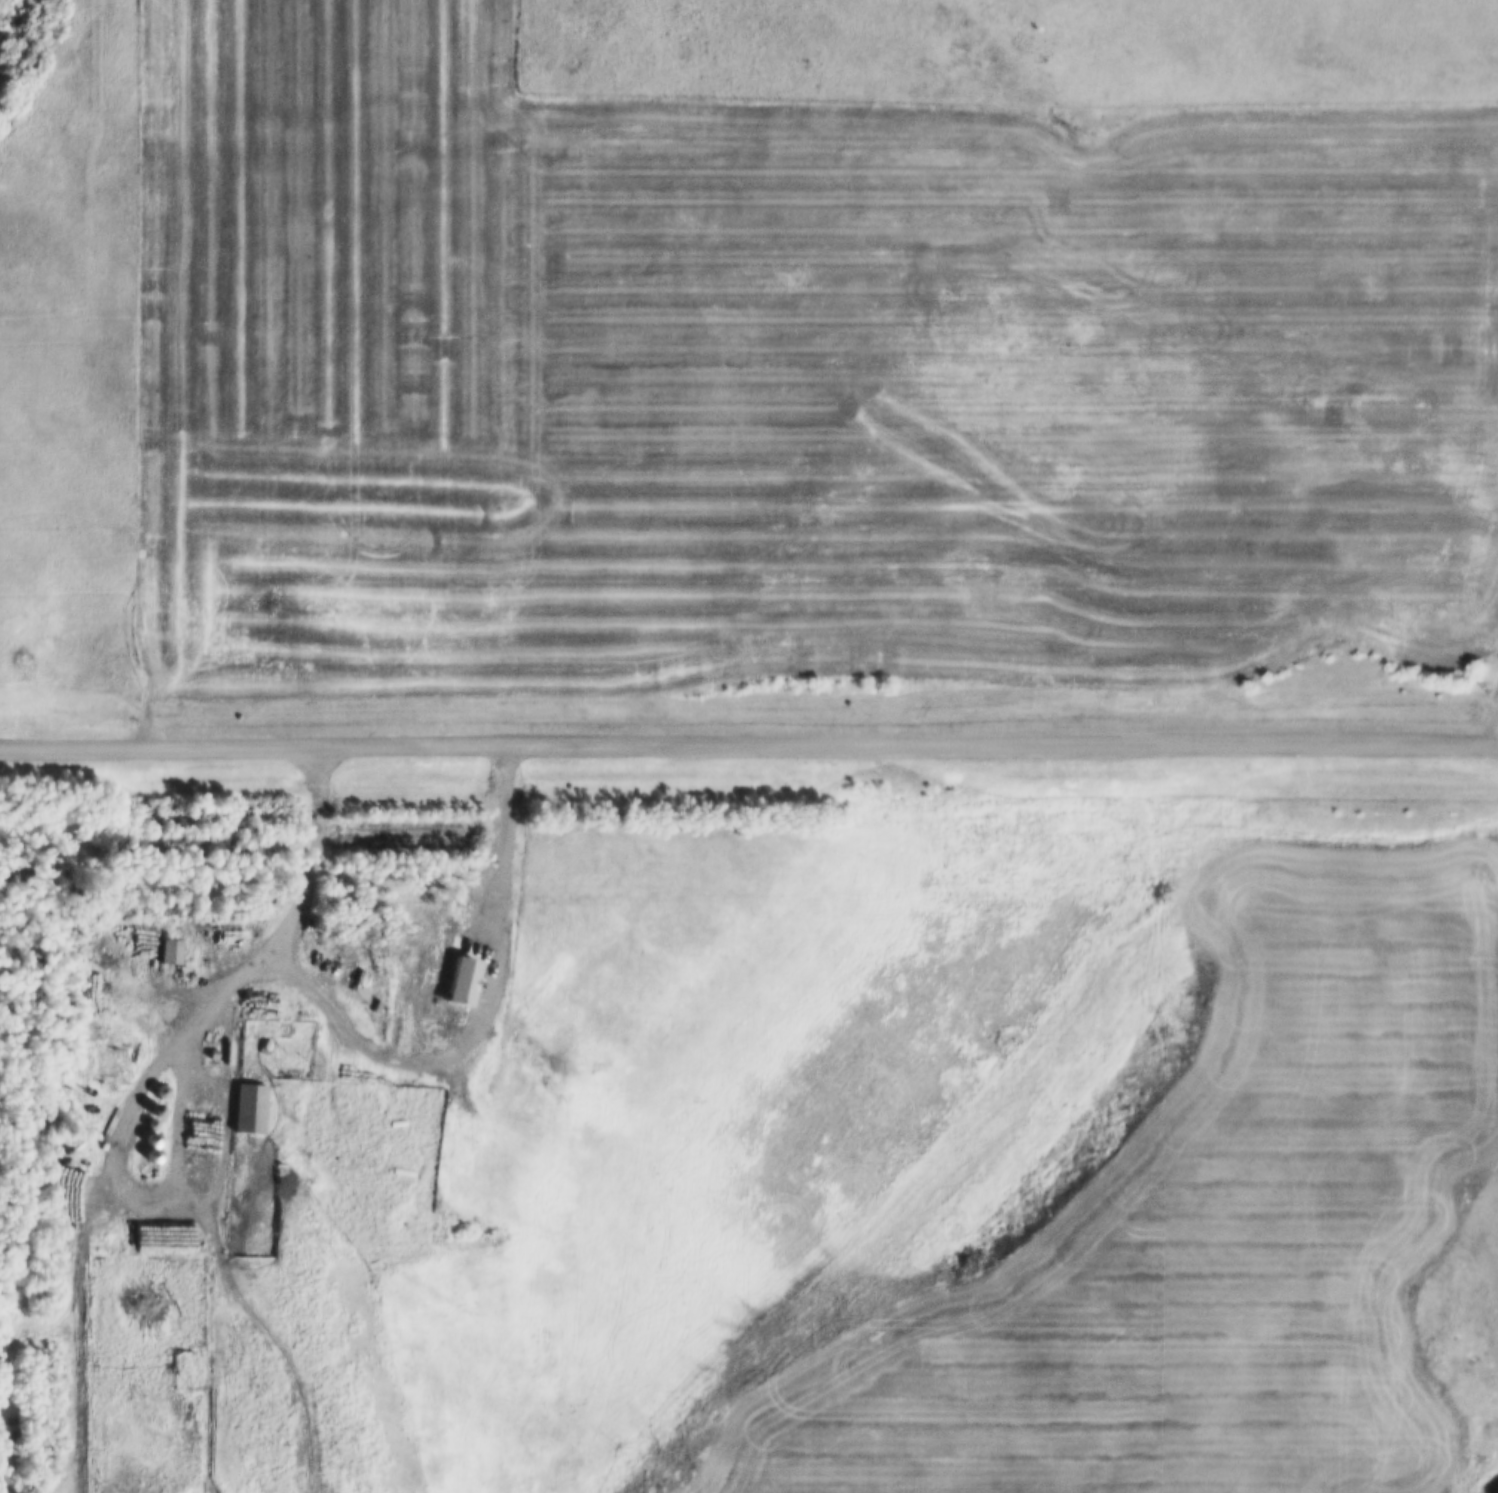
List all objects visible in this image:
road: (1490, 727)
road: (749, 741)
building: (69, 882)
building: (505, 889)
building: (168, 943)
building: (459, 964)
road: (222, 983)
building: (112, 1064)
building: (159, 1081)
silo: (159, 1081)
building: (385, 1093)
building: (247, 1096)
building: (153, 1098)
silo: (153, 1098)
building: (69, 1111)
silo: (69, 1111)
building: (150, 1114)
silo: (150, 1114)
building: (69, 1126)
silo: (69, 1126)
building: (149, 1129)
silo: (149, 1129)
building: (64, 1139)
silo: (64, 1139)
building: (150, 1145)
silo: (150, 1145)
building: (61, 1150)
silo: (61, 1150)
road: (73, 1351)

